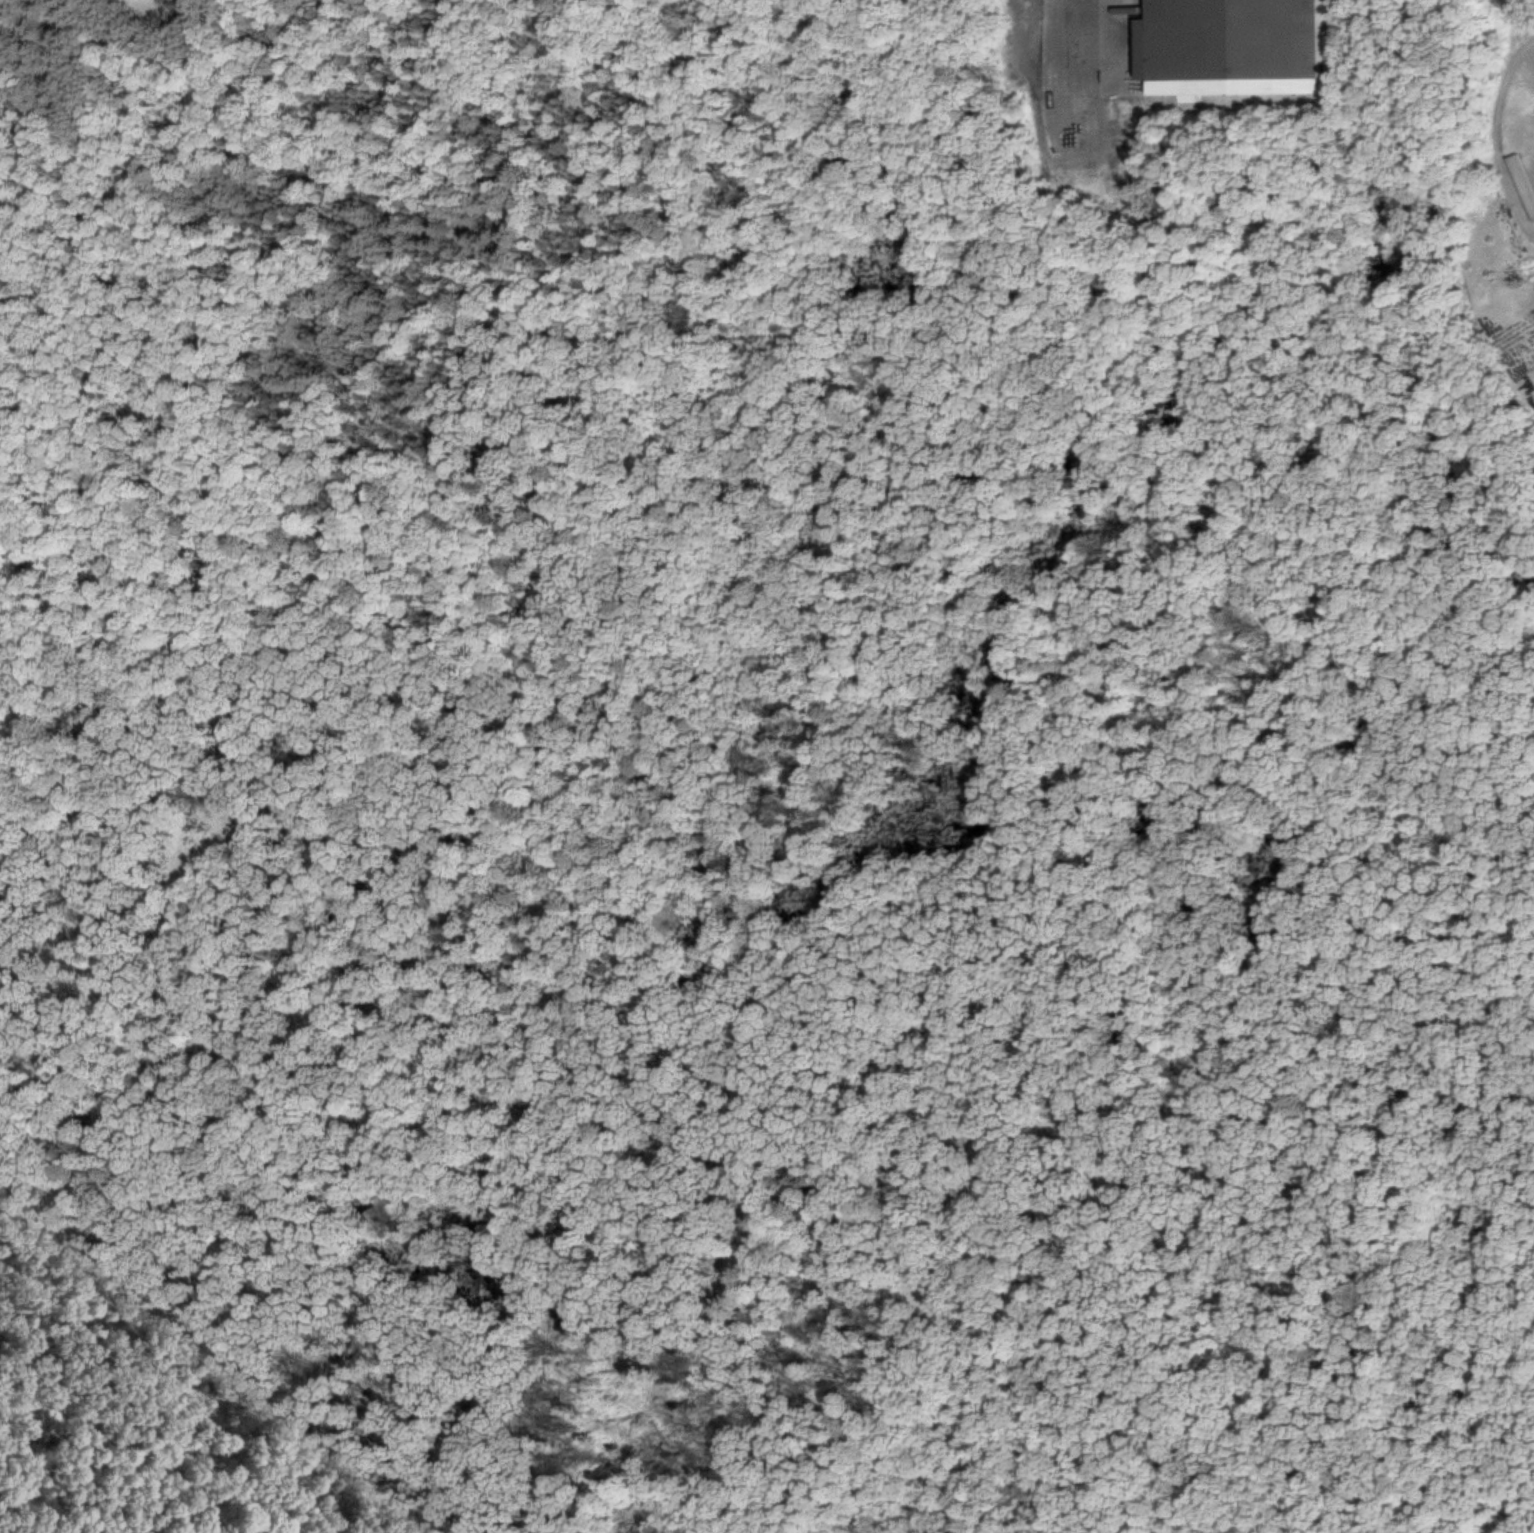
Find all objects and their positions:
building: (1237, 44)
road: (1079, 53)
road: (1494, 135)
building: (1525, 177)

